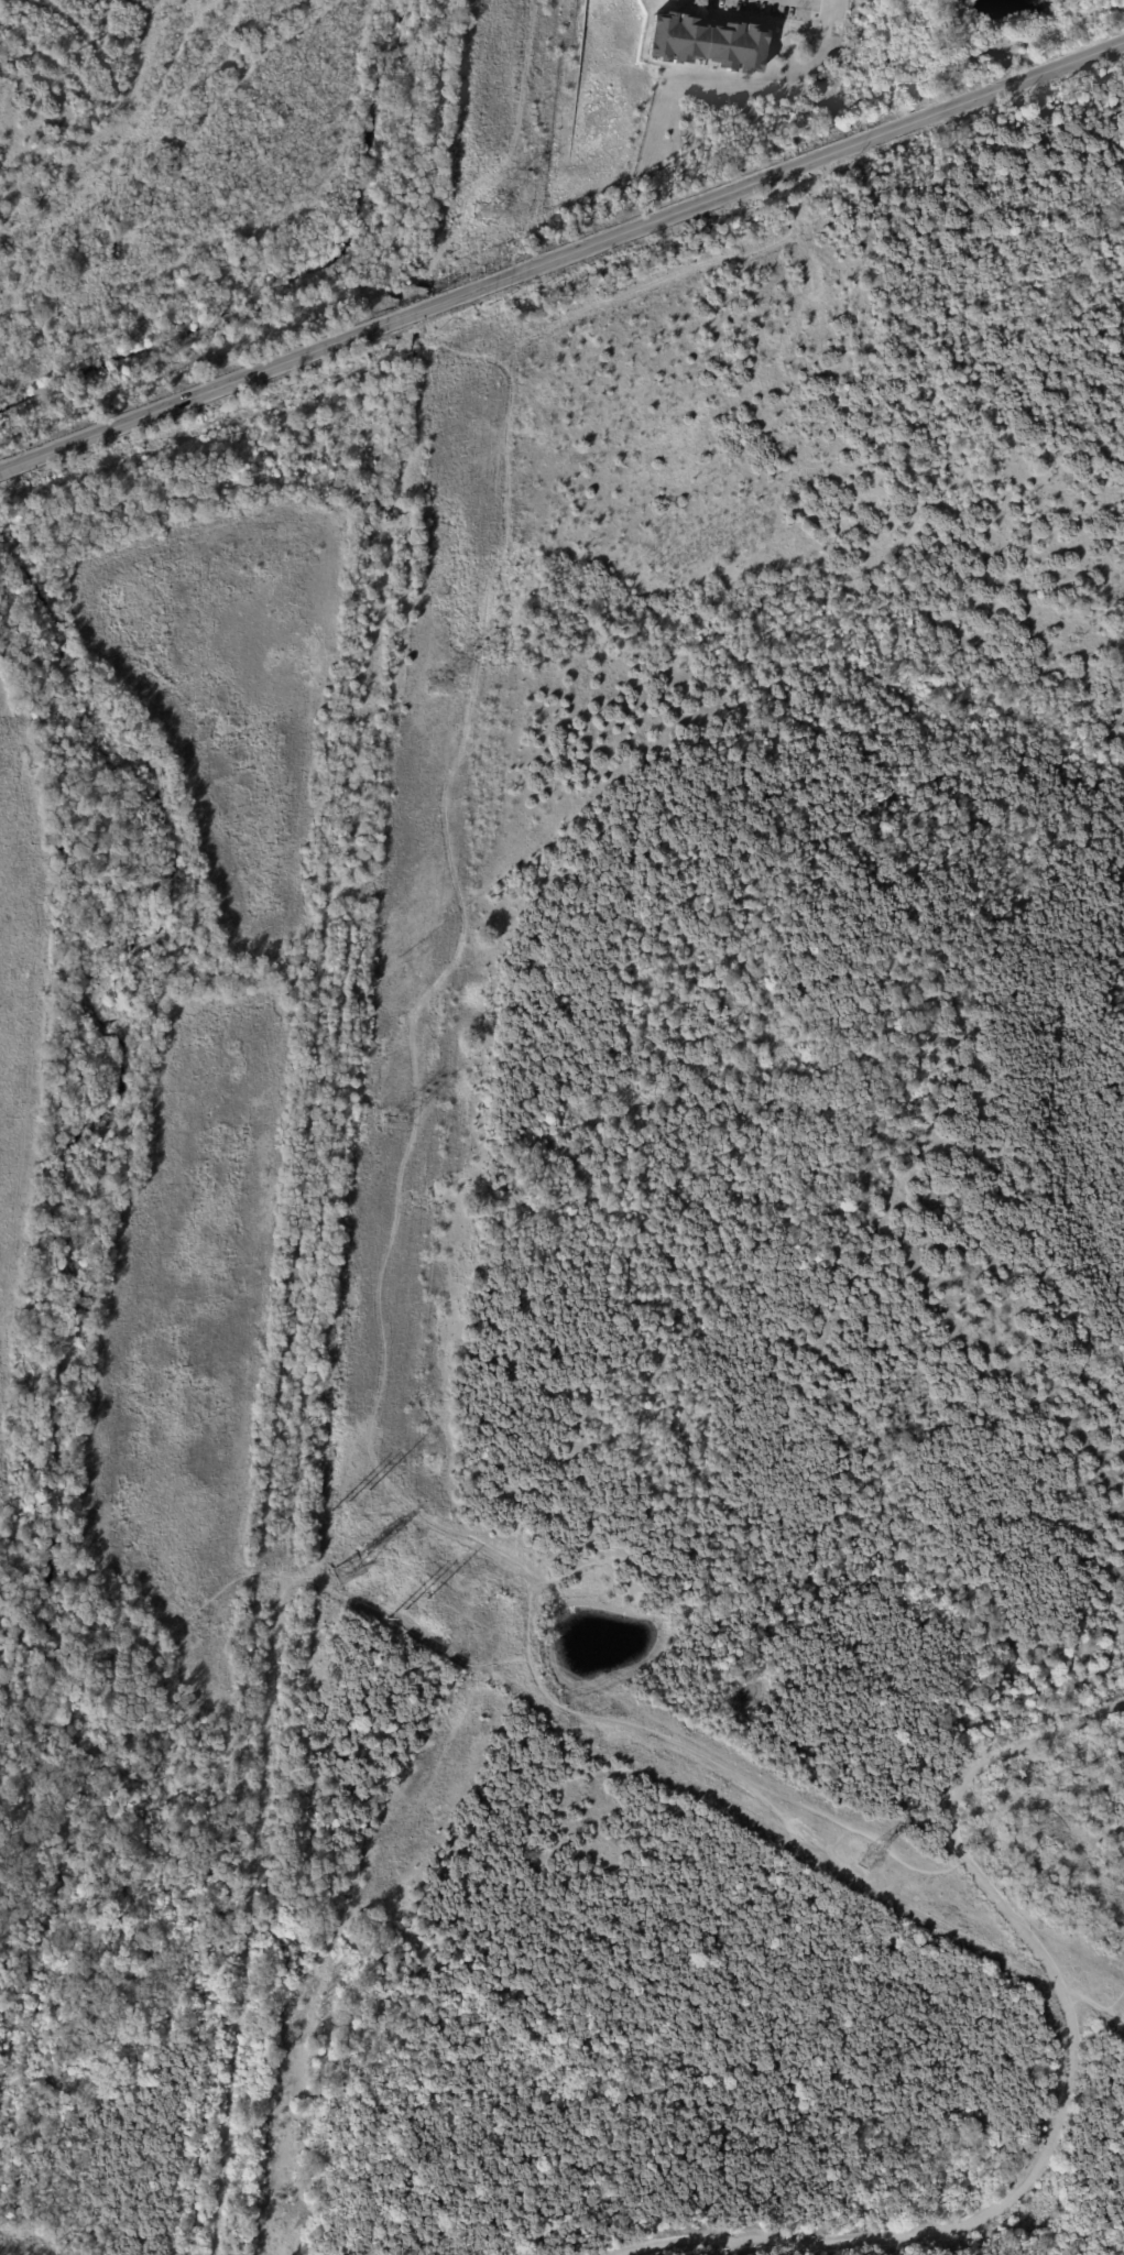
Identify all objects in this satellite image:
building: (709, 43)
power tower: (489, 211)
road: (560, 249)
power tower: (439, 684)
power tower: (393, 1121)
power tower: (347, 1572)
power tower: (866, 1859)
road: (1072, 2076)

